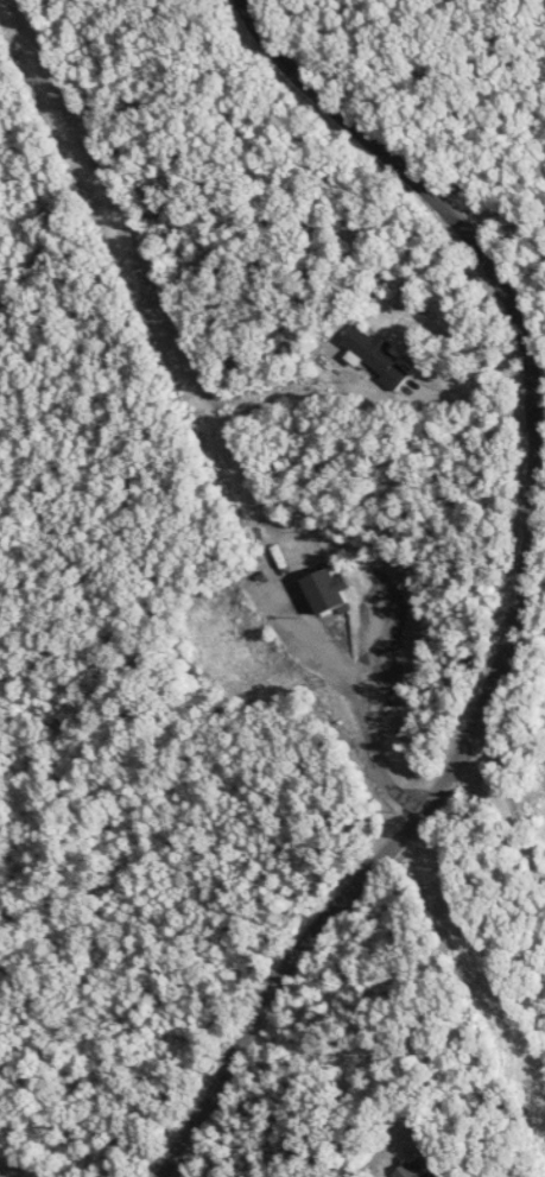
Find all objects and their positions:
road: (501, 216)
building: (381, 357)
road: (519, 587)
building: (331, 590)
road: (372, 716)
road: (509, 810)
road: (443, 948)
building: (424, 1171)
building: (452, 1175)

